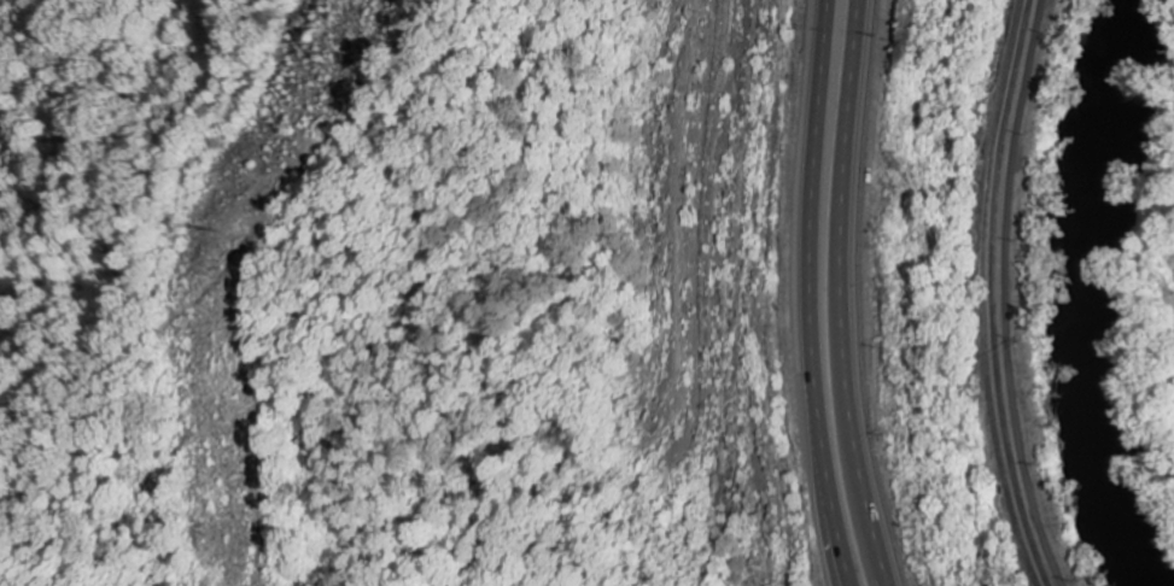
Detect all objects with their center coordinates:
power tower: (220, 233)
road: (1004, 293)
road: (806, 294)
road: (847, 294)
railway: (969, 294)
railway: (983, 294)
river: (1098, 297)
road: (846, 584)

